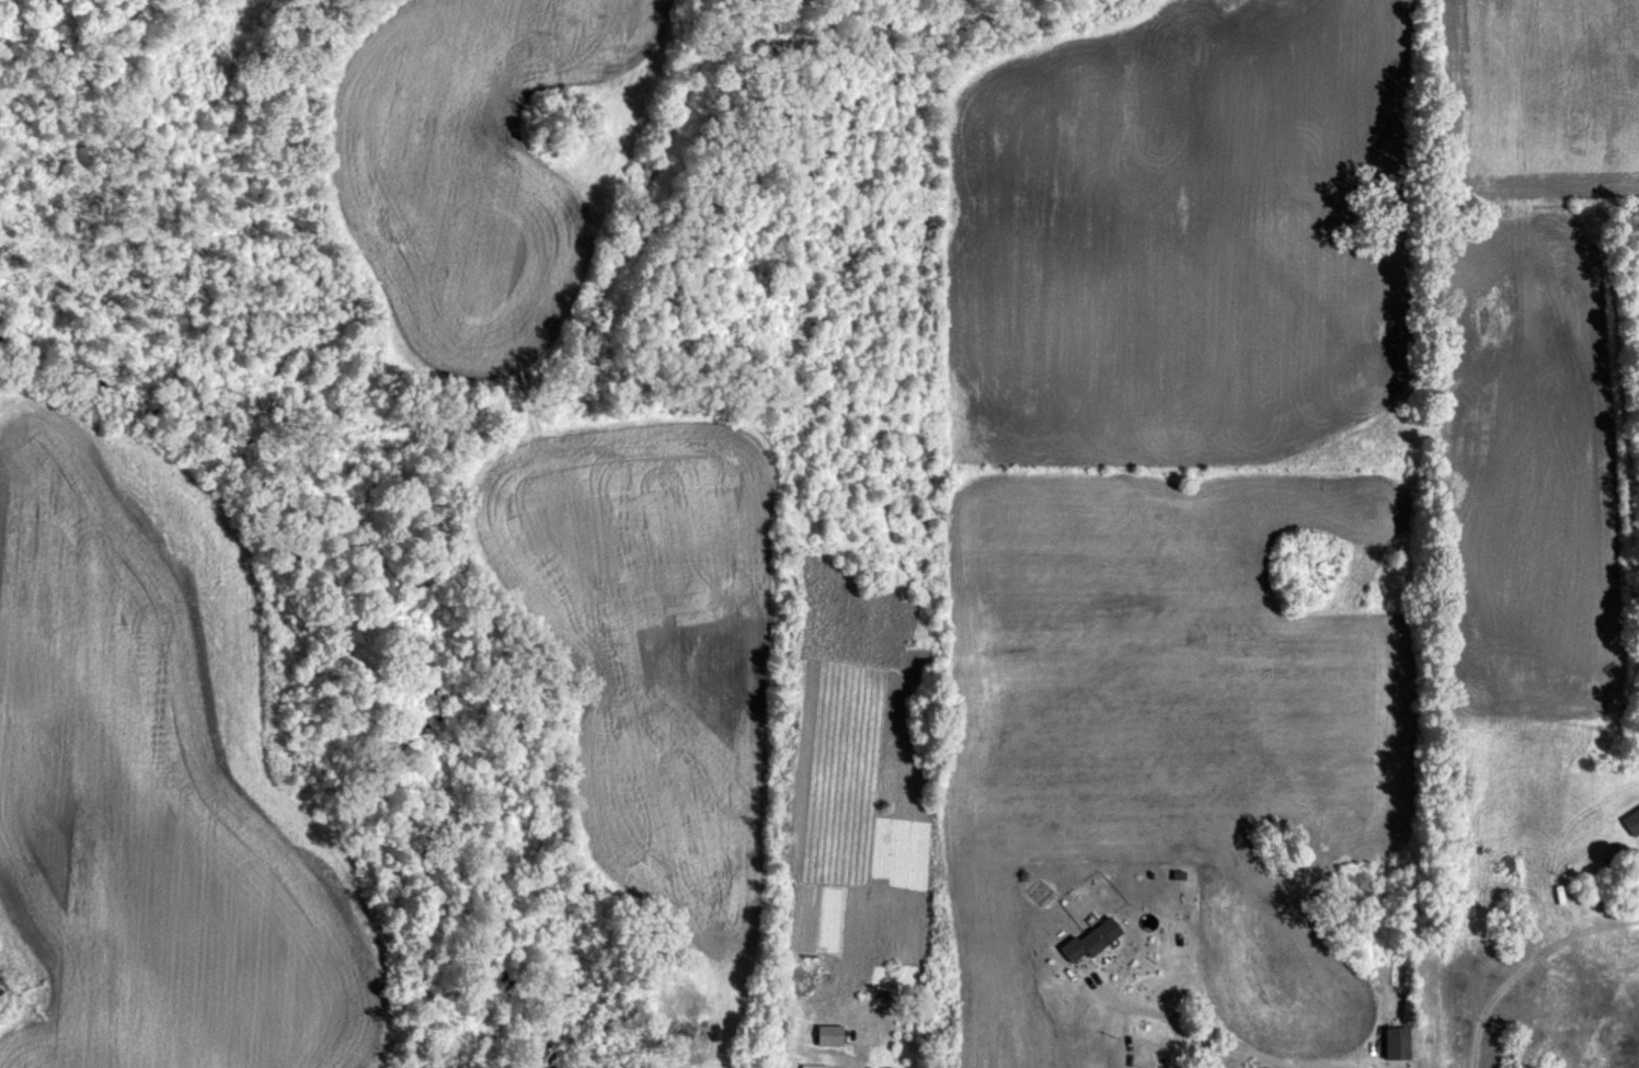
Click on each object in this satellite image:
building: (1631, 822)
building: (1088, 940)
building: (827, 1034)
building: (1394, 1043)
building: (812, 1066)

